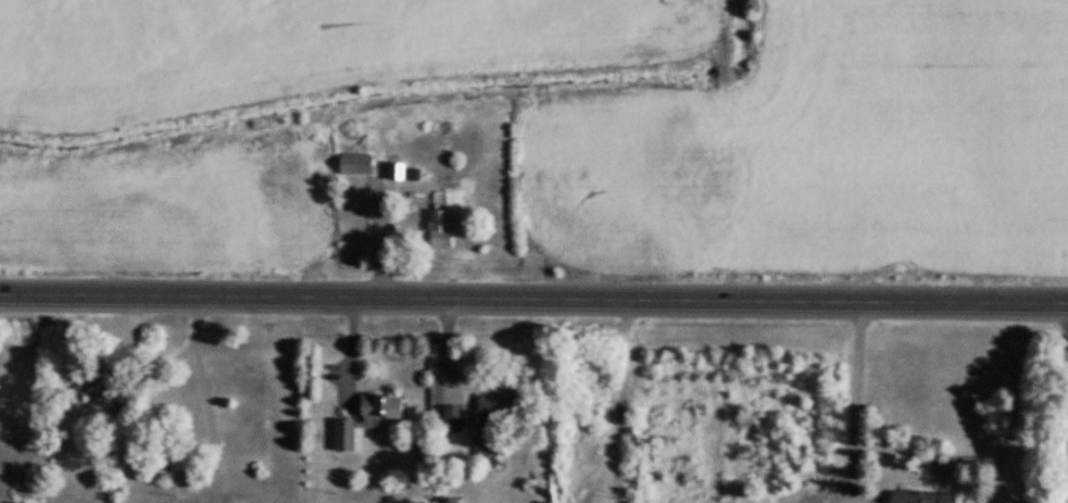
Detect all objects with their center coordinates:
road: (513, 106)
building: (353, 160)
building: (395, 167)
building: (269, 193)
building: (303, 202)
building: (440, 222)
road: (533, 295)
road: (134, 360)
building: (91, 378)
road: (856, 395)
road: (203, 398)
building: (495, 401)
building: (450, 414)
building: (360, 417)
building: (485, 443)
building: (155, 462)
building: (920, 495)
building: (448, 499)

